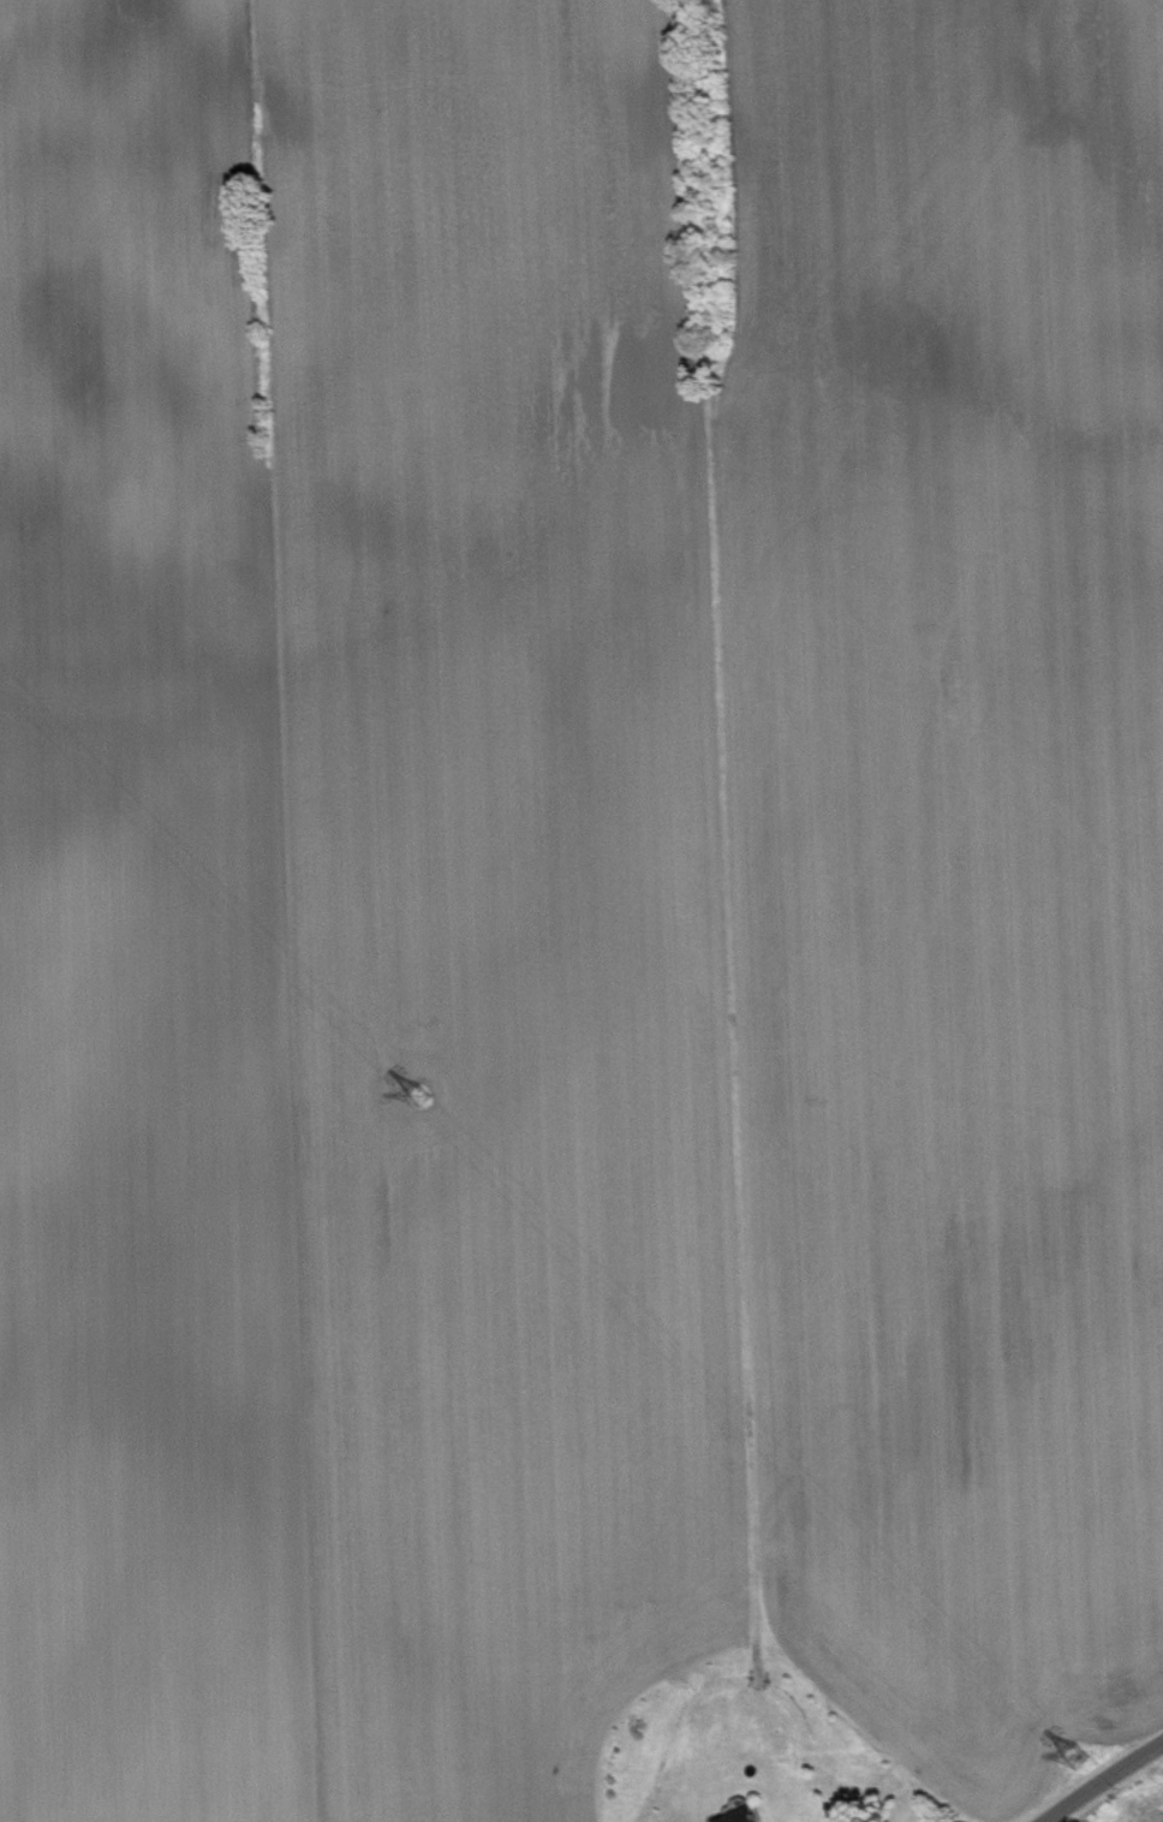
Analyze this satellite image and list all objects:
power tower: (421, 1096)
power tower: (1079, 1758)
road: (1138, 1760)
road: (1081, 1798)
building: (752, 1818)

